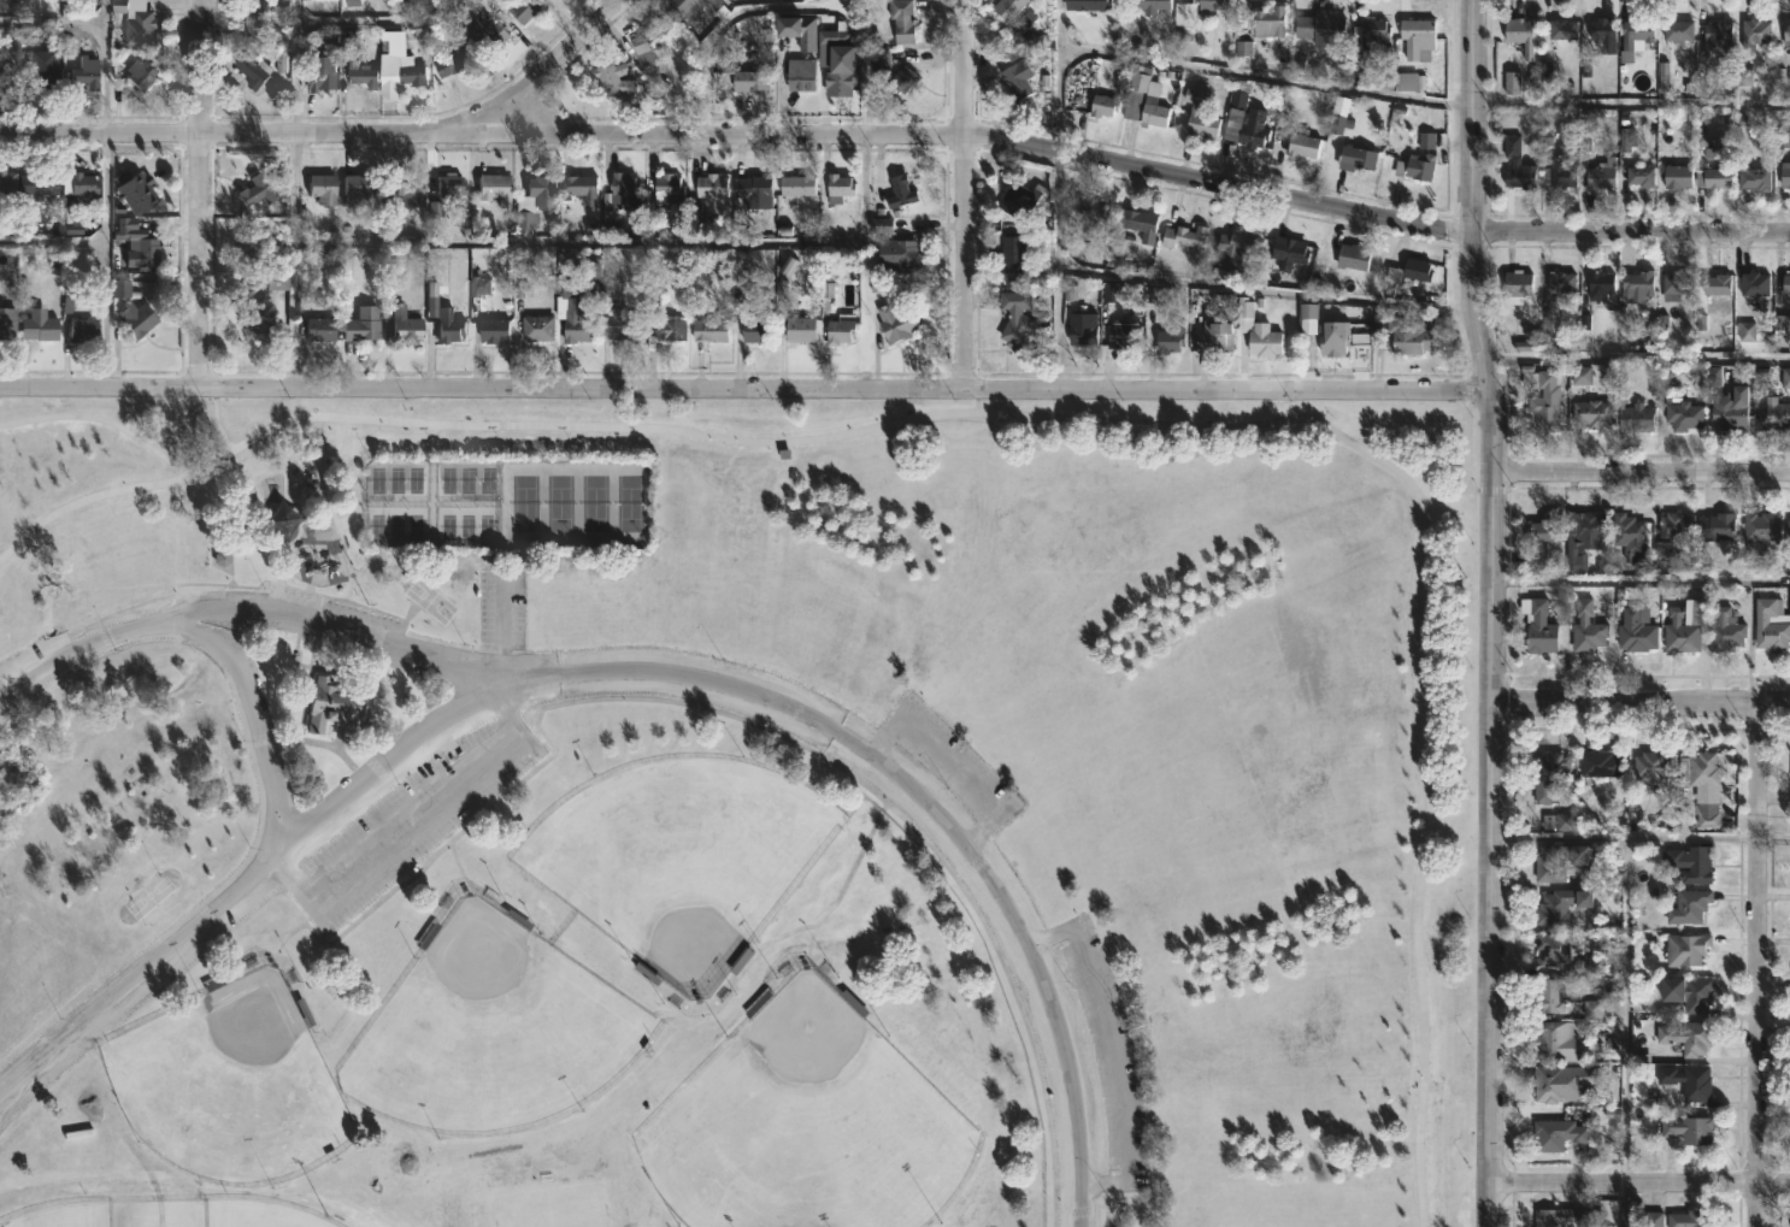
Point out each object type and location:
building: (1085, 4)
building: (1149, 6)
building: (1209, 6)
building: (700, 7)
building: (1005, 7)
building: (520, 10)
road: (52, 17)
road: (377, 20)
building: (899, 20)
building: (1268, 20)
building: (1323, 28)
building: (1373, 28)
building: (254, 29)
building: (796, 29)
building: (1601, 29)
building: (1677, 30)
building: (1717, 30)
building: (1637, 31)
building: (1754, 31)
building: (145, 33)
building: (1785, 33)
building: (488, 34)
building: (1519, 34)
building: (1417, 37)
building: (1554, 40)
building: (457, 61)
road: (296, 65)
building: (836, 65)
building: (257, 70)
building: (414, 70)
building: (88, 72)
building: (43, 73)
building: (143, 73)
building: (799, 73)
road: (1265, 73)
building: (10, 76)
building: (320, 77)
building: (367, 77)
building: (1015, 77)
building: (614, 79)
building: (748, 79)
building: (903, 81)
building: (1408, 81)
building: (1513, 84)
building: (1135, 90)
road: (1631, 102)
building: (1101, 105)
building: (1152, 112)
building: (1199, 114)
building: (1243, 123)
road: (340, 132)
building: (1426, 142)
building: (1300, 143)
building: (1355, 157)
building: (1517, 165)
building: (1419, 166)
road: (1147, 170)
building: (1561, 173)
building: (1601, 173)
building: (1785, 173)
building: (1639, 175)
building: (1676, 176)
building: (1715, 177)
building: (1755, 178)
building: (8, 182)
building: (45, 183)
building: (82, 183)
building: (361, 184)
building: (454, 184)
building: (708, 184)
building: (490, 187)
building: (797, 187)
building: (836, 187)
building: (324, 188)
building: (410, 188)
building: (583, 188)
building: (137, 190)
building: (258, 190)
building: (628, 190)
building: (666, 190)
building: (754, 190)
building: (542, 191)
building: (897, 191)
road: (102, 194)
road: (200, 194)
road: (965, 194)
road: (1056, 194)
road: (1473, 196)
building: (1018, 199)
building: (1093, 212)
building: (526, 222)
building: (1138, 223)
building: (1184, 237)
road: (51, 241)
road: (579, 241)
building: (1235, 246)
building: (142, 247)
building: (251, 249)
building: (1286, 253)
building: (896, 254)
building: (1011, 259)
building: (1354, 259)
building: (1417, 269)
building: (1559, 282)
building: (278, 283)
building: (1598, 284)
building: (1636, 284)
building: (1676, 284)
building: (1715, 284)
building: (1754, 284)
building: (1785, 284)
building: (1515, 287)
building: (123, 290)
road: (1266, 290)
building: (750, 303)
building: (573, 314)
building: (1307, 317)
building: (261, 318)
building: (140, 319)
building: (1017, 322)
building: (6, 323)
building: (894, 323)
building: (364, 324)
building: (624, 324)
building: (41, 325)
building: (401, 325)
building: (452, 325)
building: (536, 328)
building: (806, 328)
building: (78, 329)
building: (323, 329)
building: (491, 330)
building: (669, 330)
building: (708, 330)
building: (843, 331)
building: (1082, 331)
building: (1256, 331)
building: (1747, 334)
building: (1124, 335)
building: (1212, 336)
building: (1408, 336)
building: (1332, 337)
building: (1168, 338)
road: (1638, 358)
road: (100, 388)
road: (847, 389)
building: (1543, 395)
building: (1590, 414)
building: (1727, 414)
building: (1773, 414)
building: (1684, 415)
building: (1635, 417)
road: (102, 418)
road: (216, 420)
road: (1068, 421)
road: (1465, 438)
road: (1641, 471)
park: (395, 479)
park: (416, 479)
park: (487, 479)
park: (373, 480)
park: (446, 480)
park: (466, 480)
road: (1454, 491)
park: (518, 502)
park: (554, 503)
park: (591, 503)
park: (629, 503)
park: (373, 525)
park: (396, 525)
park: (417, 525)
park: (487, 525)
park: (444, 526)
park: (465, 526)
building: (1717, 526)
building: (1760, 530)
building: (1788, 530)
building: (1627, 535)
building: (1582, 536)
building: (1670, 538)
building: (1541, 542)
road: (1491, 545)
building: (218, 559)
road: (1641, 584)
park: (431, 601)
parking lot: (501, 602)
parking lot: (332, 608)
road: (500, 624)
building: (1770, 625)
building: (1537, 626)
building: (1684, 626)
building: (1586, 629)
road: (329, 630)
building: (1635, 631)
building: (1724, 631)
road: (70, 656)
road: (636, 669)
building: (331, 702)
road: (1639, 702)
road: (257, 714)
road: (743, 720)
building: (1600, 765)
building: (1651, 767)
building: (1700, 771)
building: (1547, 775)
park: (737, 812)
park: (732, 814)
building: (1707, 815)
parking lot: (408, 820)
building: (1565, 824)
road: (1774, 837)
road: (1559, 838)
park: (679, 859)
building: (1559, 861)
building: (1689, 865)
building: (1560, 907)
building: (1686, 907)
building: (1685, 949)
building: (1550, 950)
road: (1488, 965)
road: (1757, 965)
road: (1627, 968)
building: (1686, 993)
building: (1550, 996)
building: (858, 1007)
park: (491, 1031)
building: (1688, 1037)
building: (1556, 1043)
road: (1112, 1054)
building: (1686, 1081)
park: (229, 1085)
building: (1548, 1085)
park: (806, 1128)
building: (1689, 1131)
building: (1555, 1135)
road: (1638, 1184)
park: (553, 1207)
park: (257, 1215)
park: (65, 1216)
building: (1689, 1217)
building: (1565, 1219)

